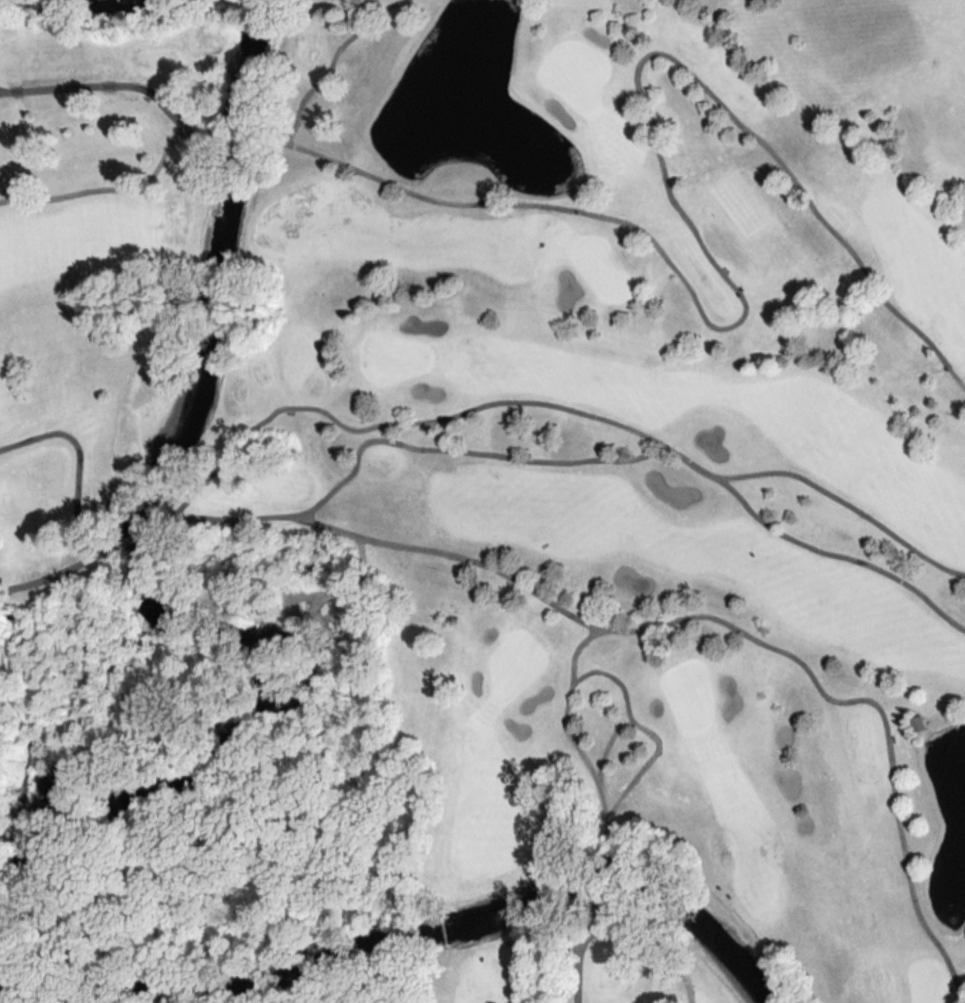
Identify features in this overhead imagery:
road: (2, 91)
road: (2, 92)
road: (152, 93)
road: (107, 187)
road: (735, 292)
road: (386, 421)
road: (400, 443)
road: (77, 463)
road: (719, 475)
park: (483, 502)
road: (454, 555)
road: (962, 572)
road: (50, 575)
road: (950, 622)
road: (590, 629)
road: (568, 688)
road: (847, 700)
road: (637, 724)
road: (588, 933)
road: (608, 934)
road: (530, 953)
road: (578, 972)
road: (2, 989)

